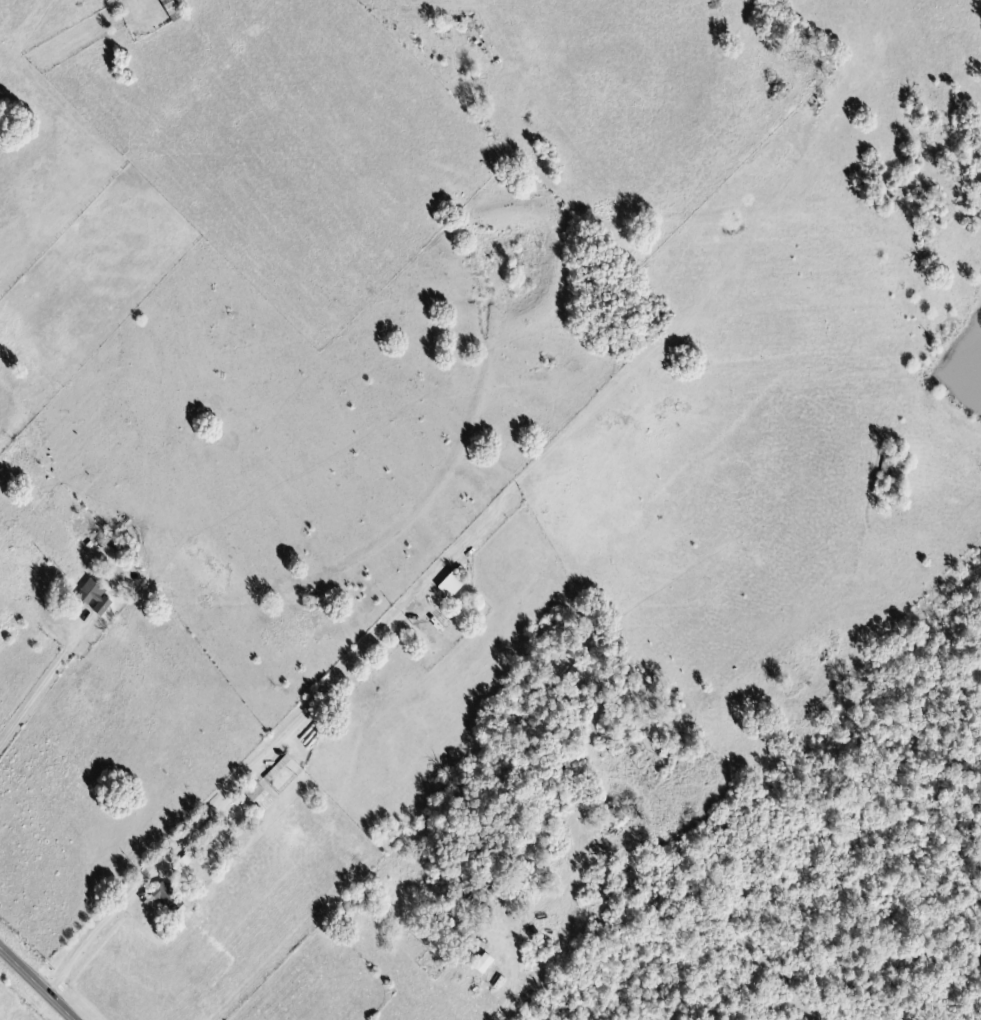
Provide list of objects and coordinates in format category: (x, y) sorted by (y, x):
building: (170, 3)
road: (3, 9)
building: (453, 585)
building: (95, 596)
road: (42, 691)
road: (258, 771)
building: (164, 896)
road: (544, 936)
building: (484, 963)
road: (38, 983)

